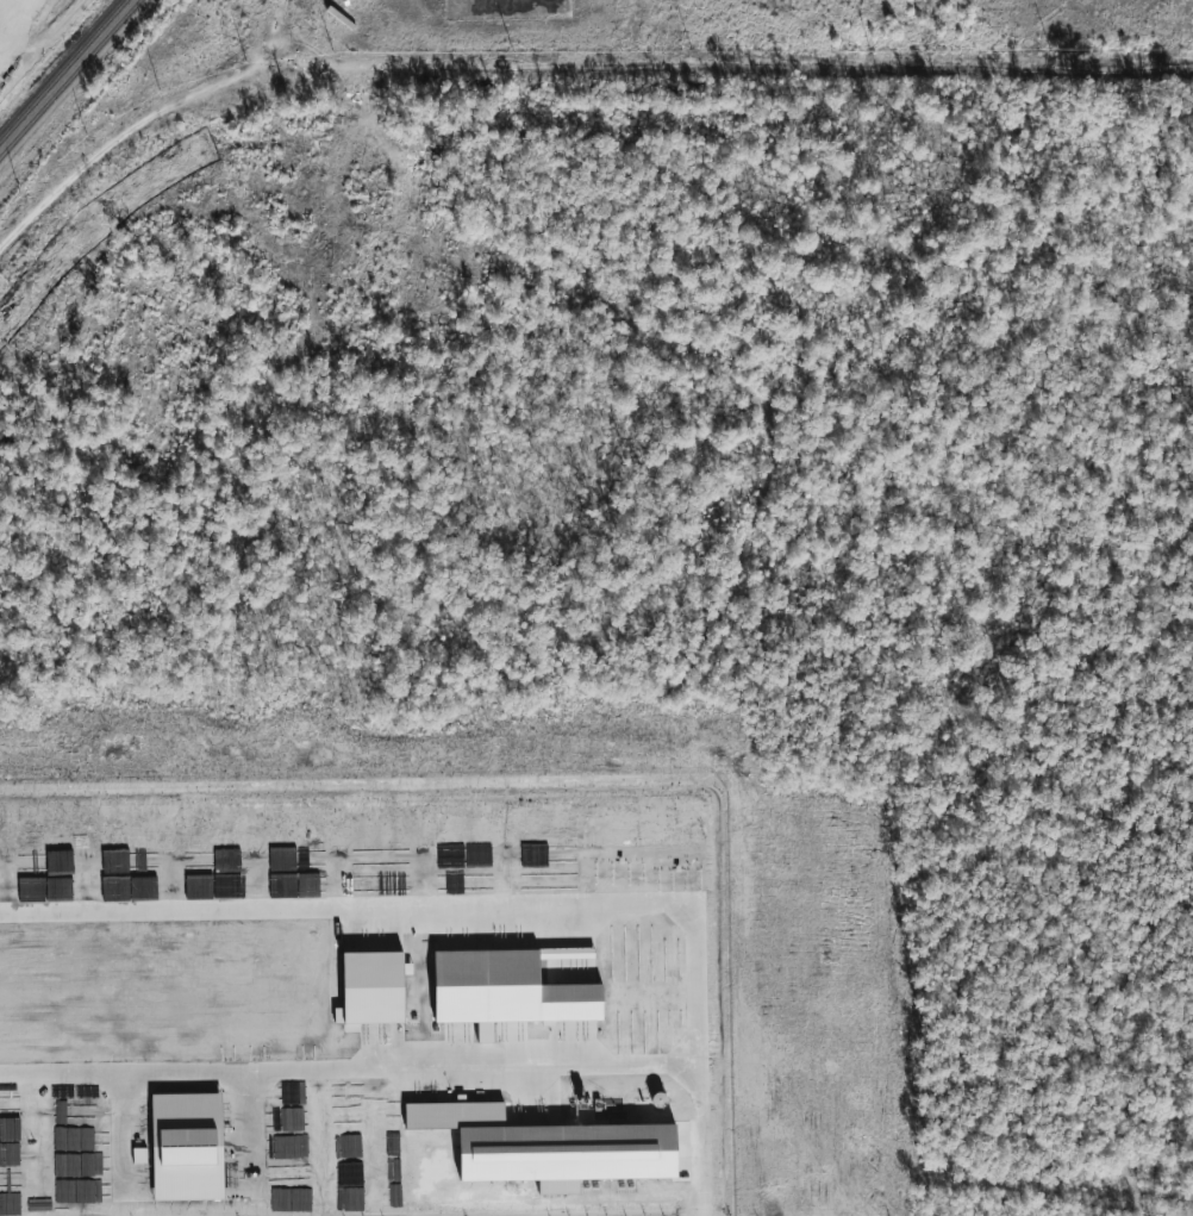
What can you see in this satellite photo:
railway: (63, 70)
railway: (69, 77)
building: (373, 989)
road: (698, 989)
building: (506, 991)
road: (701, 1142)
building: (187, 1147)
building: (546, 1147)

